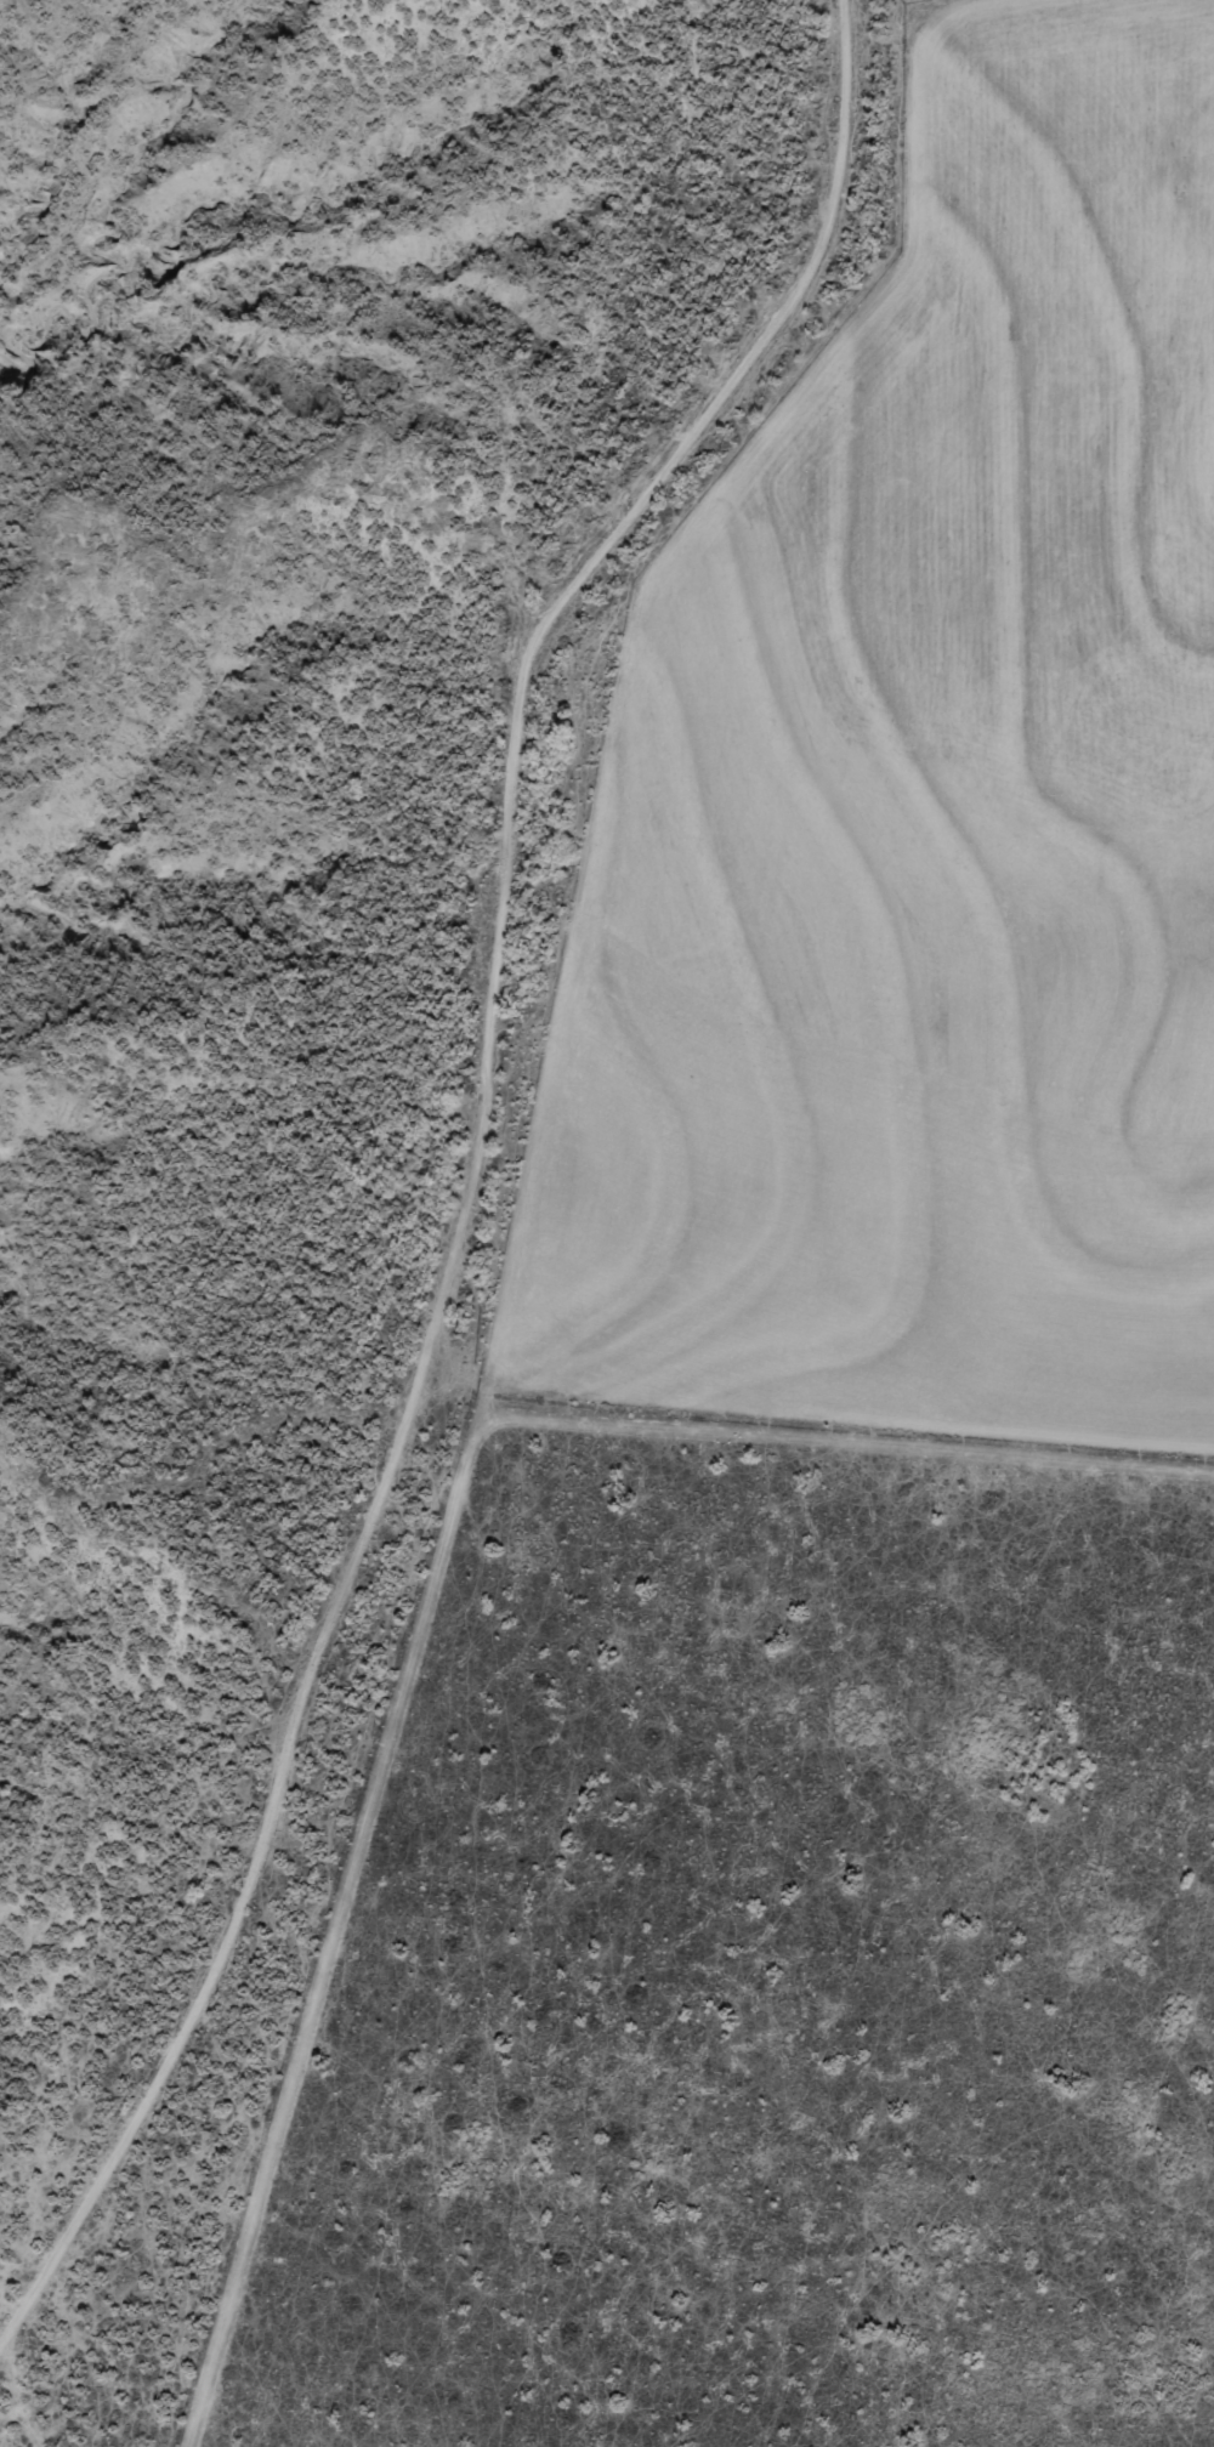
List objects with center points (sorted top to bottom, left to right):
road: (481, 1163)
road: (461, 1745)

